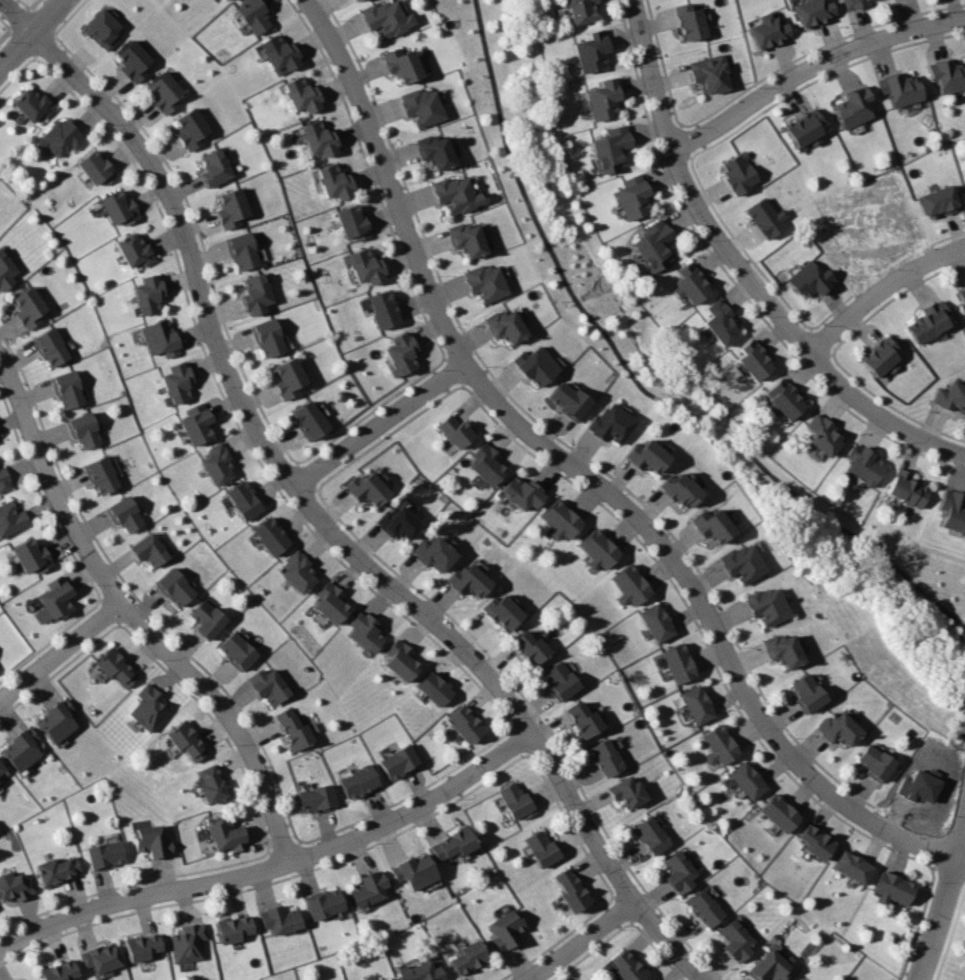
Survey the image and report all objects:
building: (225, 0)
building: (350, 0)
building: (355, 0)
road: (24, 3)
road: (31, 3)
building: (854, 3)
building: (579, 10)
building: (812, 11)
building: (252, 14)
road: (16, 16)
road: (71, 16)
building: (385, 18)
road: (39, 19)
road: (18, 21)
building: (690, 21)
building: (102, 27)
building: (768, 30)
road: (3, 33)
road: (31, 33)
road: (44, 37)
road: (26, 41)
building: (590, 51)
building: (280, 54)
building: (134, 60)
building: (400, 63)
road: (812, 69)
road: (16, 72)
building: (708, 73)
building: (947, 75)
building: (899, 89)
building: (165, 91)
building: (301, 95)
building: (601, 99)
building: (33, 105)
building: (420, 106)
building: (852, 107)
building: (804, 127)
building: (191, 128)
building: (63, 138)
building: (318, 138)
building: (610, 148)
building: (433, 151)
building: (214, 167)
building: (98, 169)
building: (738, 173)
road: (372, 176)
building: (334, 181)
building: (454, 194)
building: (631, 197)
building: (940, 200)
building: (231, 207)
building: (120, 209)
building: (766, 217)
building: (351, 221)
road: (201, 233)
building: (465, 239)
building: (652, 245)
building: (242, 251)
building: (137, 252)
building: (364, 265)
building: (6, 271)
road: (740, 272)
building: (810, 279)
building: (484, 282)
building: (689, 284)
building: (256, 294)
building: (150, 295)
building: (962, 295)
road: (884, 297)
building: (30, 308)
building: (383, 308)
building: (929, 321)
building: (720, 323)
building: (504, 325)
building: (268, 337)
building: (163, 338)
building: (52, 347)
building: (400, 353)
building: (880, 356)
building: (751, 360)
building: (534, 365)
road: (454, 369)
building: (288, 377)
road: (635, 379)
building: (179, 382)
park: (704, 387)
building: (69, 389)
building: (951, 397)
building: (782, 400)
building: (568, 401)
road: (371, 411)
road: (233, 414)
building: (309, 419)
building: (197, 423)
road: (379, 423)
building: (609, 423)
building: (454, 429)
building: (86, 430)
road: (387, 434)
road: (553, 435)
building: (822, 435)
building: (644, 455)
building: (219, 461)
building: (486, 463)
building: (864, 464)
road: (580, 472)
building: (103, 476)
road: (304, 477)
building: (4, 480)
road: (297, 488)
building: (367, 488)
building: (678, 488)
building: (908, 489)
building: (521, 492)
road: (41, 498)
building: (245, 500)
building: (952, 510)
building: (126, 514)
building: (11, 519)
building: (558, 519)
building: (396, 524)
building: (710, 524)
building: (271, 536)
building: (595, 549)
building: (150, 550)
building: (431, 553)
building: (32, 556)
building: (740, 562)
building: (300, 570)
building: (468, 580)
building: (628, 585)
building: (175, 588)
road: (137, 596)
building: (56, 597)
building: (330, 601)
building: (765, 605)
road: (111, 609)
building: (499, 610)
building: (209, 619)
road: (136, 620)
building: (654, 621)
road: (698, 629)
building: (364, 632)
road: (50, 640)
building: (529, 647)
building: (781, 649)
road: (60, 650)
building: (238, 650)
building: (400, 661)
building: (676, 662)
building: (116, 667)
road: (58, 670)
building: (558, 681)
building: (269, 685)
building: (433, 687)
building: (805, 692)
building: (695, 703)
building: (148, 708)
road: (539, 718)
building: (57, 720)
building: (582, 720)
road: (215, 723)
building: (463, 723)
building: (293, 729)
building: (837, 729)
road: (963, 734)
road: (519, 738)
building: (187, 741)
building: (717, 744)
building: (21, 747)
building: (605, 757)
building: (874, 761)
building: (397, 762)
building: (1, 768)
building: (746, 779)
building: (212, 783)
building: (357, 783)
building: (918, 784)
road: (859, 791)
building: (626, 792)
road: (408, 793)
building: (316, 799)
building: (514, 802)
building: (778, 812)
road: (570, 824)
building: (227, 835)
building: (650, 835)
building: (814, 841)
building: (152, 842)
building: (450, 843)
road: (284, 847)
building: (540, 849)
building: (105, 855)
road: (961, 858)
building: (851, 866)
road: (277, 869)
road: (947, 869)
building: (57, 870)
building: (411, 872)
building: (678, 872)
road: (271, 879)
road: (131, 883)
building: (16, 886)
building: (366, 888)
building: (891, 888)
building: (569, 889)
building: (323, 903)
road: (942, 903)
road: (622, 906)
building: (704, 908)
building: (278, 919)
road: (918, 924)
building: (234, 928)
building: (502, 928)
road: (950, 934)
road: (554, 940)
road: (666, 940)
road: (581, 941)
building: (735, 941)
building: (190, 943)
building: (143, 946)
road: (656, 950)
road: (588, 951)
building: (101, 957)
building: (465, 958)
building: (626, 965)
building: (768, 966)
building: (59, 971)
building: (419, 972)
building: (388, 979)

